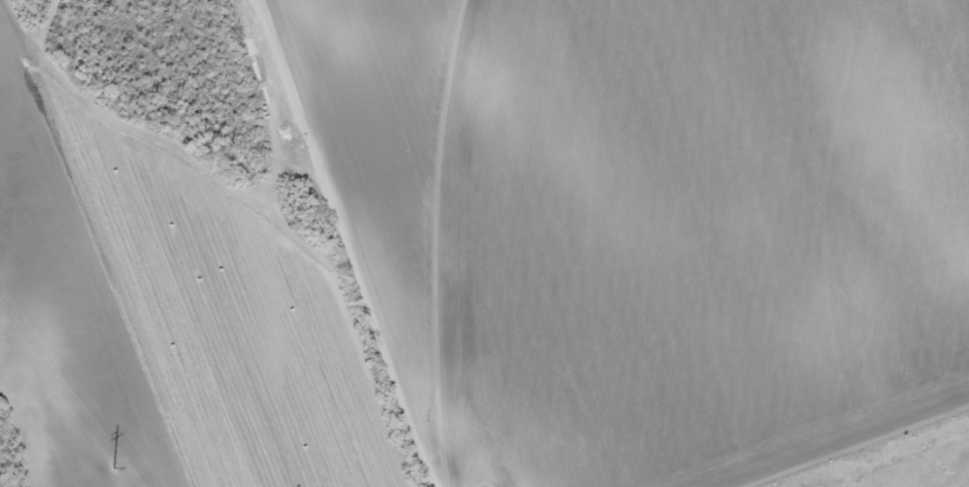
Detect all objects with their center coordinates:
road: (350, 244)
power tower: (105, 460)

